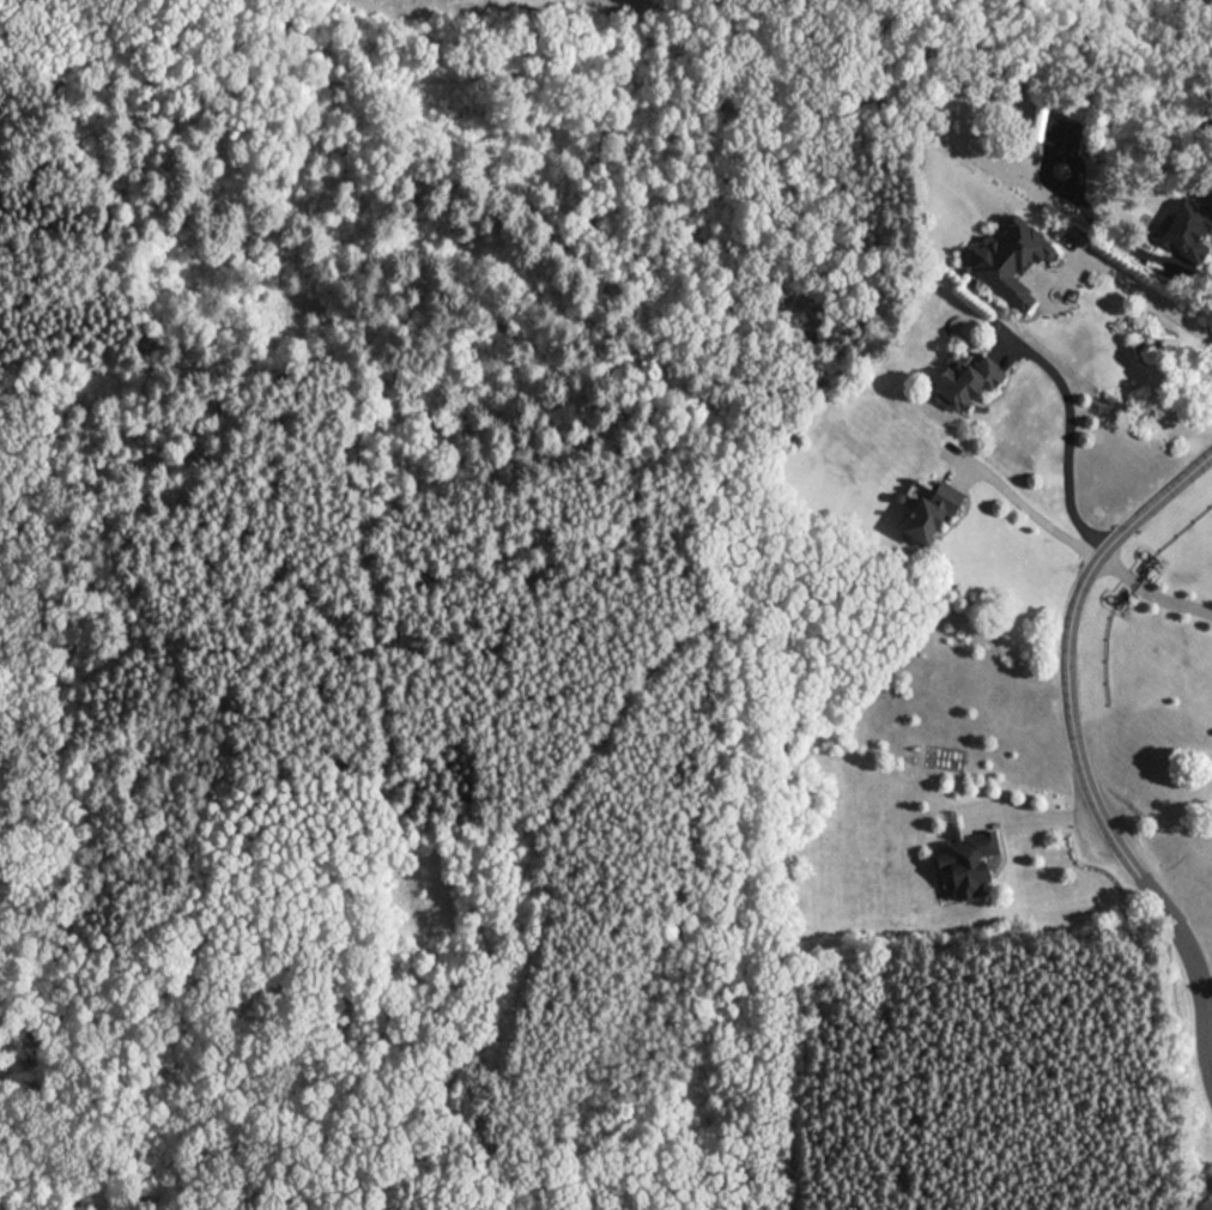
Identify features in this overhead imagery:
building: (1063, 131)
road: (1060, 149)
building: (1188, 230)
road: (1135, 240)
building: (1012, 259)
road: (1133, 288)
building: (969, 380)
road: (1067, 438)
road: (1028, 509)
road: (1150, 592)
road: (1069, 628)
park: (440, 674)
road: (1029, 806)
building: (965, 859)
road: (1190, 951)
road: (1178, 1060)

